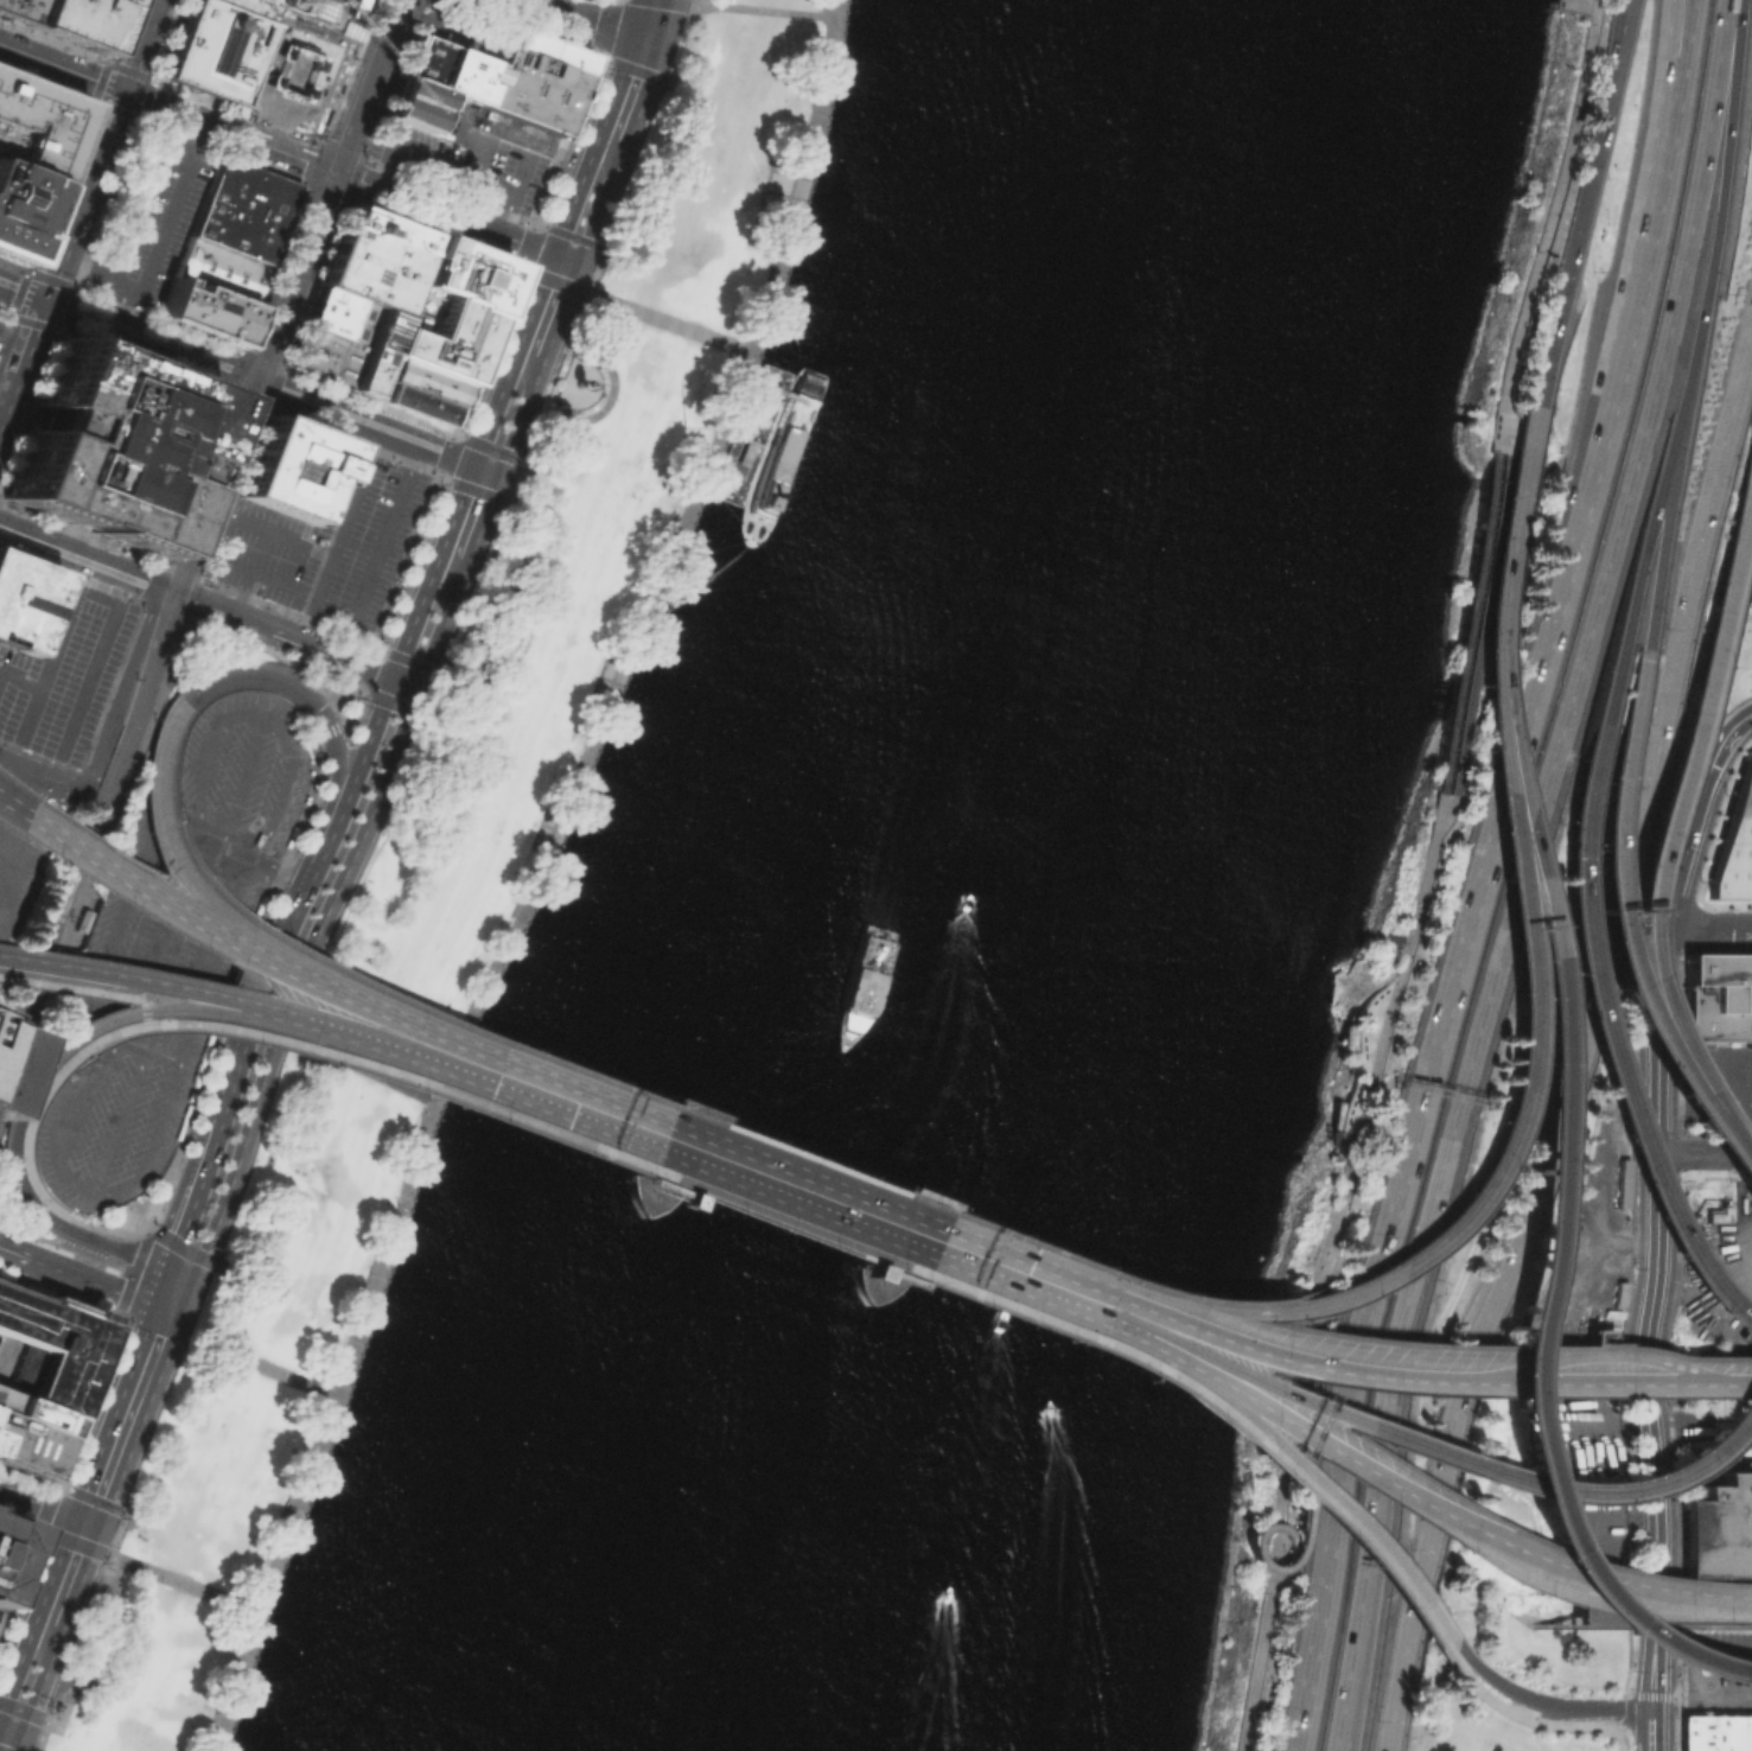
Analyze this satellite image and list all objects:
road: (675, 1)
road: (1588, 1)
road: (1598, 1)
road: (785, 5)
road: (300, 6)
building: (246, 7)
road: (759, 7)
building: (17, 11)
parking lot: (325, 14)
road: (343, 14)
road: (584, 20)
road: (650, 20)
building: (76, 21)
parking lot: (459, 28)
road: (466, 30)
traffic signals: (645, 40)
road: (140, 45)
building: (543, 47)
road: (1619, 47)
road: (1613, 49)
building: (212, 50)
road: (62, 66)
building: (441, 69)
building: (293, 72)
road: (1661, 83)
road: (1681, 84)
building: (527, 89)
traffic signals: (123, 91)
road: (643, 93)
building: (415, 106)
road: (136, 117)
road: (139, 119)
building: (34, 127)
road: (593, 144)
road: (485, 145)
parking lot: (463, 158)
road: (435, 159)
traffic signals: (336, 173)
road: (337, 173)
road: (796, 176)
road: (323, 191)
road: (329, 191)
road: (83, 196)
road: (514, 196)
road: (1552, 200)
road: (601, 203)
building: (133, 209)
road: (139, 209)
building: (243, 210)
building: (20, 211)
road: (1718, 215)
parking lot: (149, 222)
building: (383, 230)
road: (161, 242)
road: (1571, 250)
traffic signals: (553, 254)
road: (566, 259)
road: (517, 263)
traffic signals: (580, 263)
road: (522, 265)
building: (221, 270)
building: (367, 270)
road: (51, 278)
road: (566, 285)
road: (21, 292)
traffic signals: (44, 301)
road: (65, 307)
road: (122, 307)
parking lot: (446, 308)
road: (15, 312)
building: (204, 312)
road: (561, 312)
building: (327, 313)
parking lot: (2, 320)
road: (8, 320)
road: (665, 321)
road: (598, 326)
road: (148, 340)
road: (434, 348)
building: (331, 349)
building: (371, 351)
road: (21, 358)
road: (259, 358)
road: (512, 359)
road: (142, 362)
road: (232, 374)
road: (741, 376)
road: (276, 377)
building: (419, 380)
traffic signals: (254, 382)
road: (584, 388)
road: (773, 389)
road: (588, 390)
road: (267, 397)
building: (410, 401)
road: (243, 402)
road: (30, 407)
road: (521, 418)
road: (581, 420)
road: (363, 424)
flagpole: (681, 425)
road: (1498, 425)
road: (459, 432)
road: (231, 433)
road: (450, 433)
building: (757, 435)
road: (472, 439)
building: (108, 446)
railway: (215, 448)
road: (502, 452)
road: (444, 453)
building: (785, 456)
railway: (232, 457)
traffic signals: (473, 465)
building: (289, 467)
road: (486, 470)
road: (438, 471)
traffic signals: (501, 475)
road: (440, 478)
road: (193, 479)
road: (514, 479)
road: (477, 490)
road: (229, 491)
road: (483, 518)
road: (1506, 518)
railway: (187, 527)
road: (81, 533)
road: (386, 533)
road: (1646, 534)
road: (283, 537)
road: (1661, 537)
road: (190, 539)
parking lot: (325, 543)
railway: (196, 545)
road: (58, 547)
road: (403, 559)
road: (235, 565)
road: (325, 568)
road: (432, 572)
road: (190, 574)
road: (144, 580)
road: (102, 581)
traffic signals: (172, 593)
road: (96, 594)
building: (21, 600)
road: (200, 605)
road: (152, 610)
road: (1484, 613)
road: (1469, 622)
building: (1751, 625)
road: (122, 652)
road: (324, 654)
parking lot: (63, 670)
road: (265, 676)
road: (20, 677)
traffic signals: (391, 680)
road: (123, 687)
road: (1695, 688)
traffic signals: (419, 689)
road: (361, 690)
road: (348, 706)
road: (382, 706)
road: (1746, 714)
road: (257, 717)
road: (327, 731)
road: (331, 738)
road: (352, 739)
road: (301, 741)
road: (180, 771)
road: (355, 777)
road: (38, 778)
road: (336, 783)
road: (242, 784)
road: (153, 785)
road: (13, 806)
road: (1439, 807)
road: (91, 838)
building: (1734, 840)
road: (172, 846)
road: (237, 858)
road: (1522, 868)
road: (518, 870)
road: (1604, 870)
road: (96, 874)
park: (454, 875)
road: (1417, 875)
parking lot: (18, 877)
road: (293, 878)
river: (1015, 880)
road: (11, 881)
road: (1429, 884)
road: (147, 891)
park: (1406, 910)
railway: (65, 912)
road: (123, 918)
building: (89, 919)
road: (330, 921)
road: (1707, 929)
road: (161, 944)
parking lot: (172, 950)
road: (1458, 955)
road: (321, 957)
road: (253, 960)
road: (1522, 963)
road: (59, 964)
road: (274, 975)
road: (1550, 980)
road: (202, 985)
road: (72, 987)
road: (196, 988)
road: (339, 993)
road: (144, 994)
road: (1645, 994)
building: (1718, 995)
road: (1591, 999)
road: (145, 1013)
road: (122, 1015)
road: (26, 1017)
road: (336, 1023)
road: (242, 1031)
road: (1581, 1040)
road: (467, 1046)
road: (89, 1051)
road: (450, 1053)
road: (63, 1070)
road: (592, 1074)
parking lot: (1715, 1088)
road: (581, 1103)
traffic signals: (625, 1120)
road: (157, 1132)
road: (568, 1136)
road: (1713, 1138)
road: (1705, 1154)
road: (815, 1159)
road: (734, 1161)
road: (187, 1172)
road: (30, 1176)
road: (17, 1182)
road: (77, 1182)
road: (721, 1193)
road: (190, 1197)
building: (693, 1201)
road: (163, 1204)
park: (18, 1211)
road: (875, 1216)
road: (1657, 1225)
road: (109, 1229)
traffic signals: (177, 1235)
road: (1039, 1244)
road: (65, 1247)
road: (116, 1247)
road: (181, 1247)
road: (862, 1248)
road: (13, 1252)
traffic signals: (986, 1257)
road: (136, 1260)
road: (180, 1272)
building: (879, 1272)
road: (1028, 1273)
road: (90, 1281)
road: (1323, 1282)
road: (160, 1286)
road: (189, 1295)
road: (1211, 1300)
road: (1331, 1304)
road: (1015, 1306)
road: (167, 1310)
road: (1269, 1311)
road: (1638, 1329)
road: (1599, 1332)
road: (1618, 1333)
road: (1751, 1335)
road: (1166, 1337)
road: (1598, 1338)
traffic signals: (172, 1339)
building: (45, 1345)
road: (1512, 1346)
road: (238, 1356)
road: (1294, 1360)
road: (1528, 1365)
road: (103, 1368)
road: (1505, 1378)
road: (1600, 1378)
road: (1713, 1378)
road: (1703, 1384)
road: (1215, 1401)
building: (6, 1402)
road: (115, 1411)
building: (39, 1416)
road: (141, 1420)
road: (1687, 1422)
road: (1395, 1434)
building: (27, 1446)
road: (314, 1451)
road: (1674, 1471)
road: (90, 1497)
road: (1339, 1503)
road: (49, 1507)
road: (50, 1507)
traffic signals: (75, 1517)
traffic signals: (101, 1527)
building: (1719, 1528)
road: (1470, 1532)
road: (53, 1533)
road: (85, 1547)
building: (9, 1549)
road: (28, 1560)
road: (1274, 1566)
road: (1293, 1568)
road: (1385, 1571)
road: (81, 1577)
road: (180, 1580)
road: (1579, 1580)
road: (1703, 1612)
road: (1589, 1613)
road: (37, 1616)
road: (93, 1638)
road: (112, 1645)
road: (1629, 1655)
road: (1702, 1655)
road: (1745, 1672)
road: (42, 1681)
road: (1495, 1681)
road: (1472, 1686)
road: (1639, 1695)
park: (15, 1707)
road: (1598, 1707)
road: (1525, 1708)
road: (23, 1712)
road: (1629, 1714)
road: (1568, 1724)
road: (11, 1731)
building: (1715, 1732)
traffic signals: (23, 1736)
road: (19, 1743)
road: (1337, 1746)

